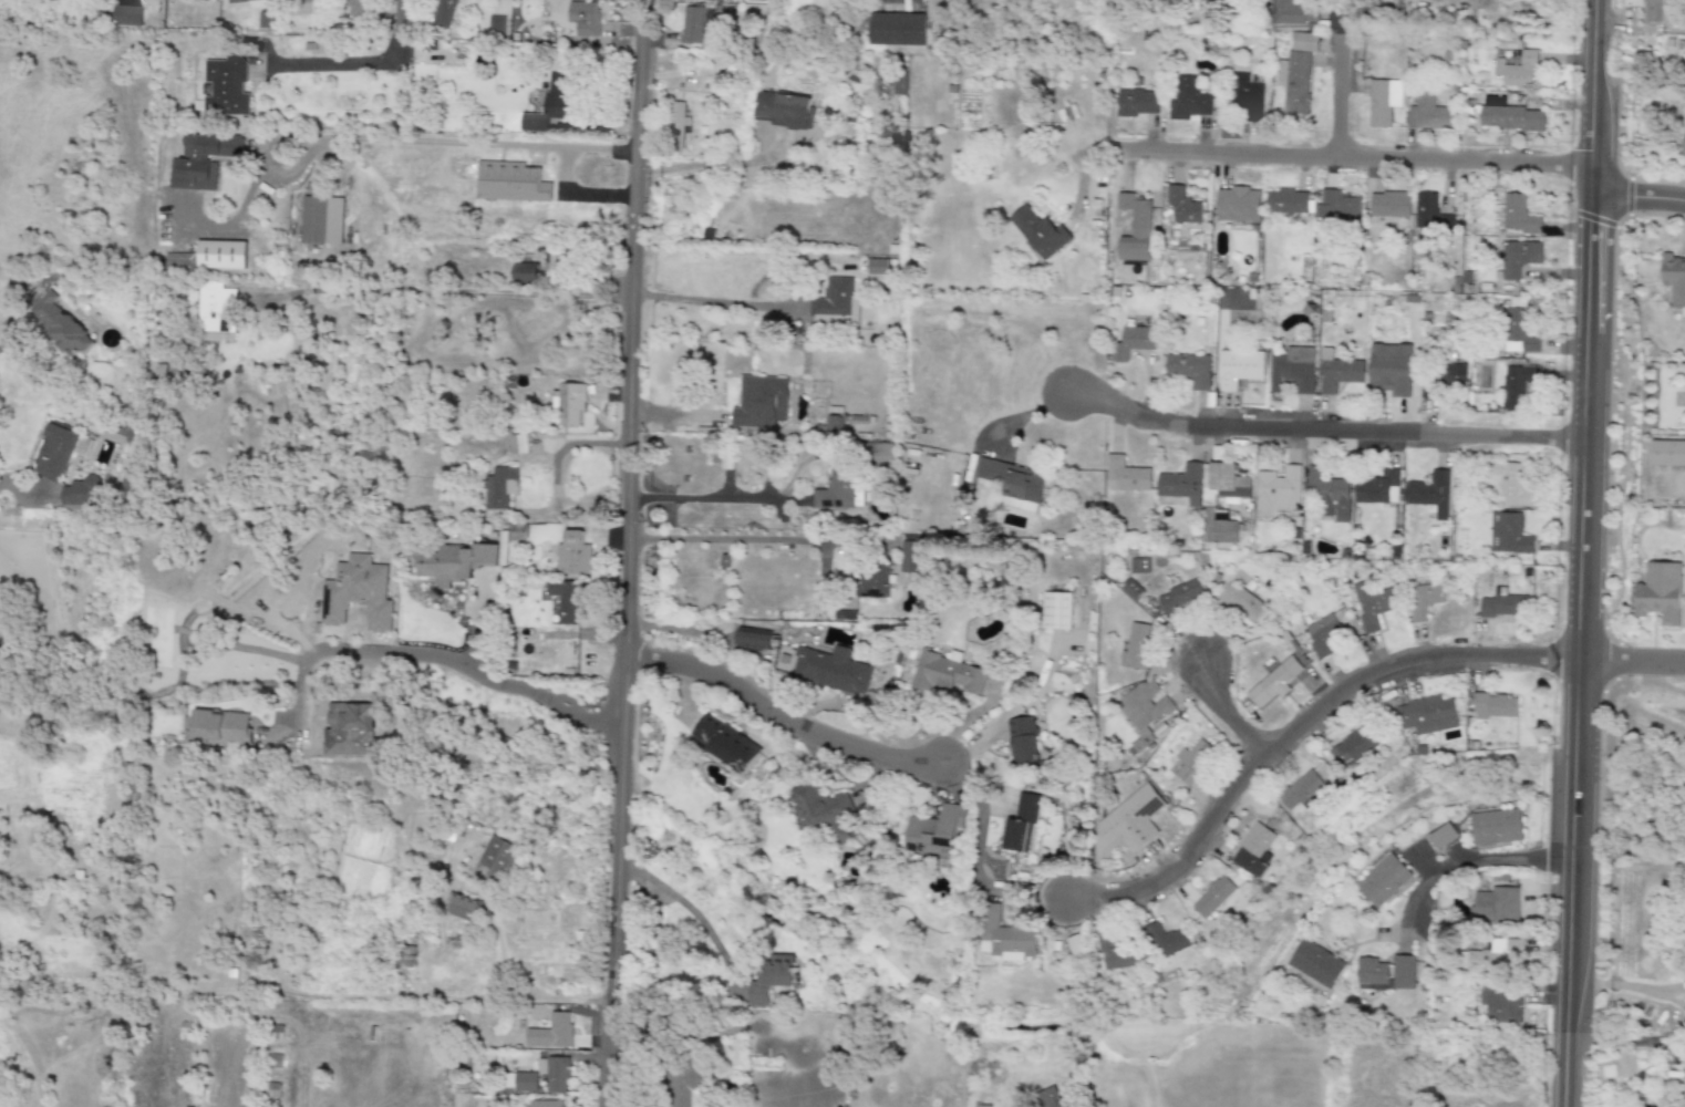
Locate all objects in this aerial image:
building: (206, 0)
building: (308, 0)
building: (250, 3)
building: (354, 8)
building: (1655, 11)
building: (1293, 12)
building: (442, 13)
building: (126, 15)
building: (583, 19)
building: (691, 25)
building: (496, 27)
building: (896, 29)
road: (360, 59)
building: (1517, 70)
building: (1296, 72)
building: (898, 85)
building: (225, 87)
road: (1344, 92)
building: (1247, 97)
building: (1187, 100)
building: (1383, 102)
building: (552, 103)
building: (1136, 103)
building: (781, 110)
building: (1428, 113)
building: (678, 118)
building: (1511, 118)
road: (445, 142)
building: (1683, 149)
road: (1357, 155)
building: (200, 161)
road: (699, 166)
road: (1641, 199)
building: (1286, 201)
building: (1237, 205)
building: (1389, 205)
building: (1182, 206)
building: (1336, 206)
building: (1425, 209)
building: (1518, 216)
building: (321, 220)
building: (1136, 228)
building: (1040, 232)
building: (220, 255)
building: (1518, 258)
building: (551, 263)
building: (877, 267)
building: (524, 272)
building: (1674, 279)
road: (525, 292)
building: (213, 304)
building: (835, 304)
building: (60, 324)
building: (1520, 333)
building: (1133, 343)
road: (3, 344)
building: (1239, 368)
building: (1190, 369)
building: (1391, 369)
building: (1292, 370)
building: (1337, 372)
building: (1453, 375)
building: (1517, 385)
building: (570, 402)
building: (761, 402)
road: (1327, 428)
building: (517, 444)
building: (54, 453)
building: (879, 454)
building: (1667, 454)
building: (1126, 475)
building: (1011, 479)
building: (1222, 484)
building: (1513, 484)
building: (1181, 486)
building: (499, 488)
road: (18, 489)
building: (837, 489)
building: (1279, 489)
building: (1377, 489)
building: (1327, 493)
building: (79, 494)
building: (1430, 494)
road: (710, 499)
building: (1218, 527)
building: (1508, 535)
road: (735, 540)
road: (1582, 552)
road: (626, 553)
building: (910, 553)
building: (572, 555)
building: (1138, 566)
building: (1130, 590)
building: (356, 593)
building: (1185, 598)
building: (1665, 600)
building: (566, 601)
building: (1371, 604)
building: (1425, 604)
building: (1242, 607)
building: (552, 611)
building: (1056, 611)
building: (1501, 612)
building: (1325, 637)
building: (753, 640)
building: (1141, 648)
road: (1631, 664)
building: (833, 670)
road: (472, 671)
building: (945, 673)
building: (1283, 680)
road: (300, 703)
building: (1495, 706)
road: (1230, 707)
building: (1148, 715)
road: (781, 716)
building: (1426, 718)
road: (1299, 722)
building: (215, 728)
building: (1023, 742)
building: (725, 743)
building: (1356, 751)
building: (1192, 762)
building: (1304, 797)
building: (820, 809)
road: (980, 820)
building: (1130, 829)
building: (1498, 830)
building: (934, 832)
building: (1443, 837)
building: (1257, 852)
building: (495, 860)
road: (1469, 865)
building: (1385, 883)
building: (1216, 901)
building: (464, 909)
road: (690, 910)
building: (1496, 910)
building: (1005, 938)
building: (1168, 940)
building: (1076, 946)
building: (1115, 954)
building: (1493, 956)
building: (1314, 972)
building: (1387, 977)
building: (768, 979)
road: (1625, 985)
road: (376, 994)
building: (1500, 1005)
building: (559, 1027)
building: (536, 1037)
building: (552, 1074)
building: (524, 1082)
building: (685, 1087)
building: (1045, 1098)
building: (545, 1104)

